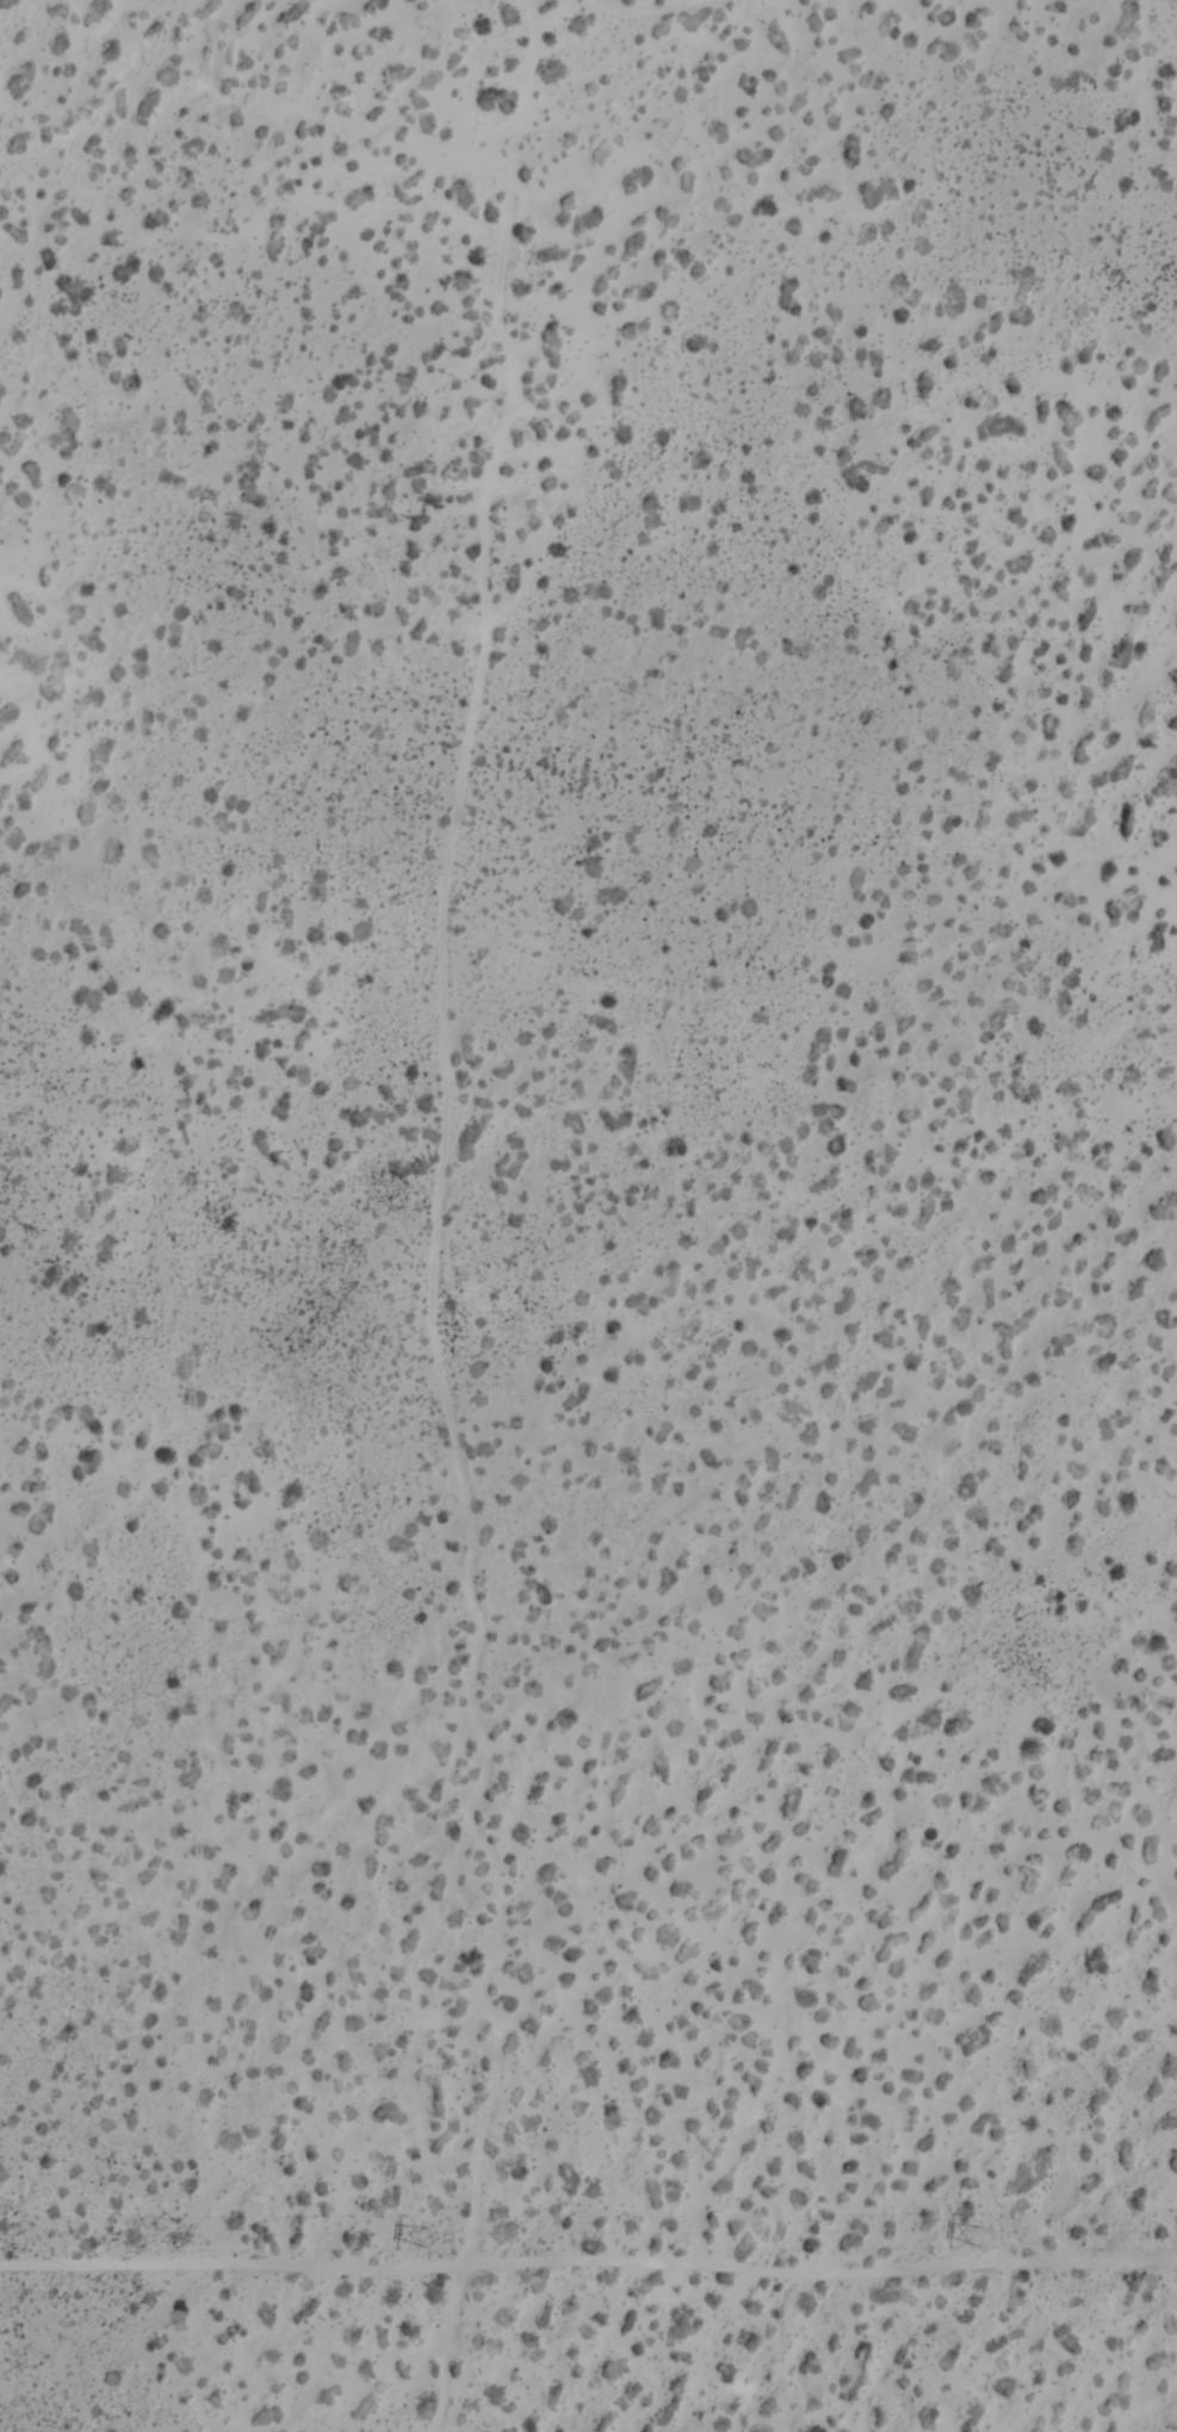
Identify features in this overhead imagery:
power tower: (981, 2233)
power tower: (432, 2234)

